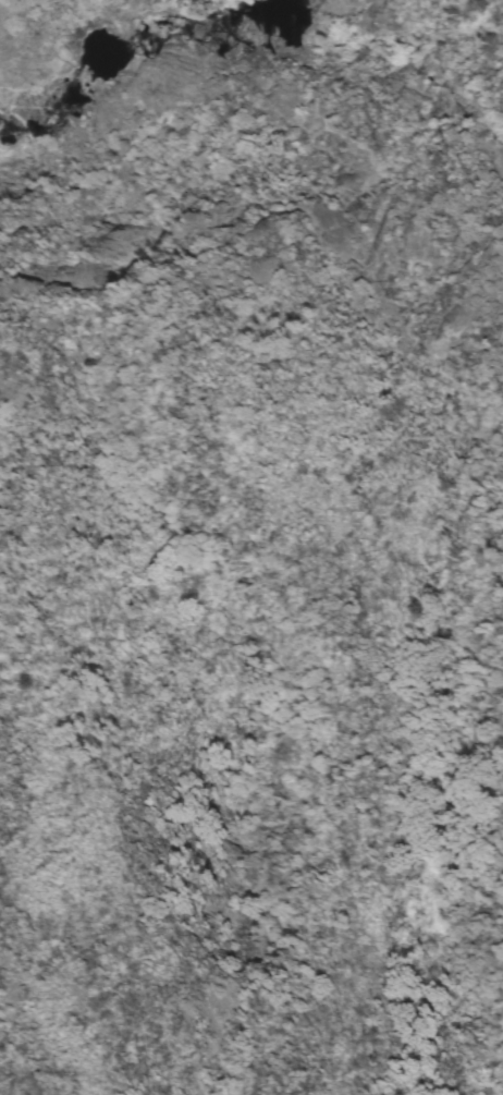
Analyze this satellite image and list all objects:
river: (136, 58)

